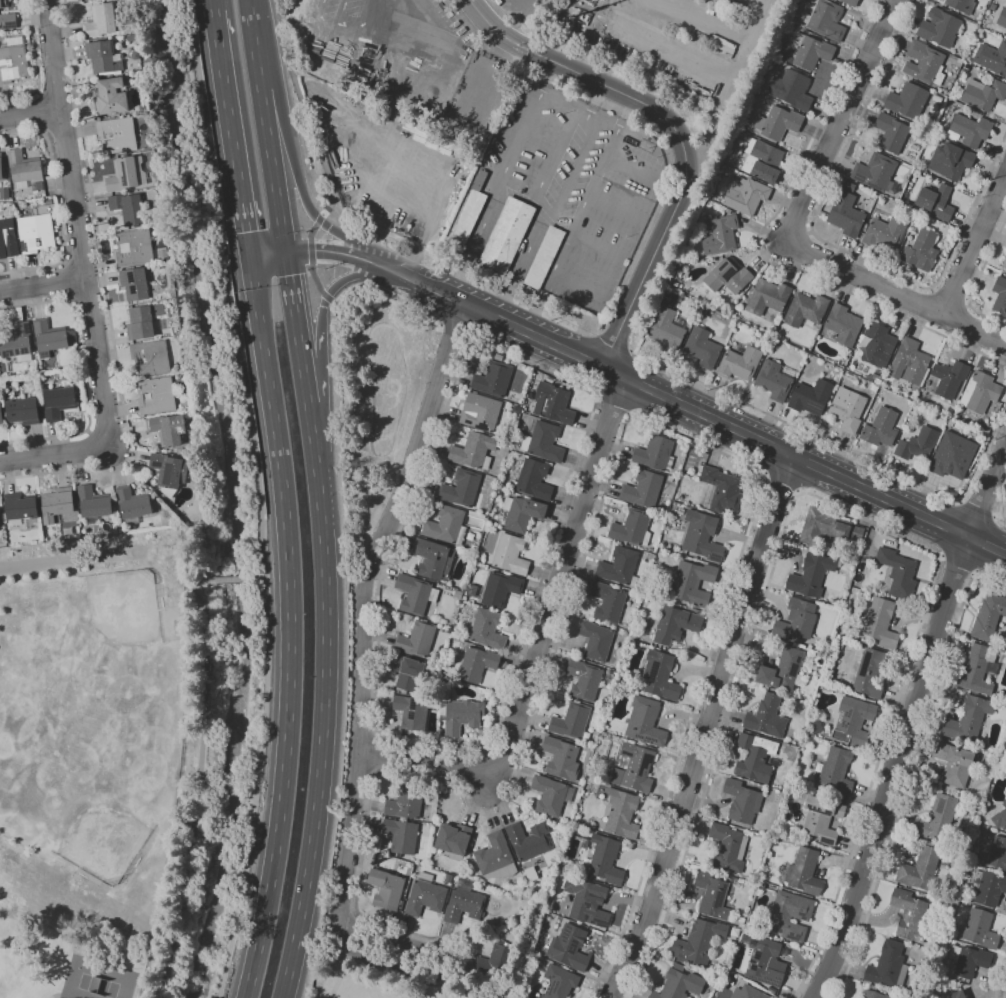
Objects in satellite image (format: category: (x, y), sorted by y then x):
building: (850, 2)
building: (3, 4)
road: (213, 5)
building: (962, 5)
building: (992, 6)
building: (946, 10)
road: (341, 11)
road: (376, 16)
building: (1002, 18)
building: (826, 20)
building: (8, 21)
building: (100, 21)
road: (336, 21)
building: (939, 28)
road: (495, 29)
building: (811, 50)
building: (103, 58)
building: (992, 58)
building: (959, 60)
building: (13, 61)
road: (702, 62)
building: (924, 63)
road: (37, 65)
building: (791, 89)
road: (57, 91)
building: (983, 94)
building: (111, 96)
building: (937, 98)
road: (596, 99)
building: (907, 100)
road: (580, 109)
road: (40, 111)
road: (305, 112)
road: (28, 114)
road: (527, 119)
road: (839, 121)
building: (778, 123)
road: (265, 126)
road: (62, 129)
building: (971, 130)
building: (891, 132)
road: (234, 134)
building: (117, 135)
road: (556, 151)
building: (762, 160)
building: (950, 160)
road: (633, 165)
building: (1, 168)
road: (576, 168)
road: (295, 169)
building: (25, 170)
building: (875, 171)
building: (126, 174)
road: (686, 175)
road: (530, 192)
building: (4, 193)
building: (746, 196)
building: (936, 201)
road: (58, 206)
road: (615, 206)
building: (129, 208)
building: (728, 211)
building: (845, 214)
road: (579, 215)
building: (467, 216)
road: (78, 224)
building: (863, 231)
building: (35, 233)
building: (884, 233)
building: (719, 234)
building: (506, 235)
road: (477, 236)
building: (8, 237)
road: (831, 244)
road: (973, 245)
road: (598, 246)
building: (133, 247)
road: (760, 247)
building: (921, 251)
traffic signals: (285, 253)
road: (325, 253)
building: (162, 255)
road: (269, 255)
building: (544, 257)
traffic signals: (254, 258)
road: (82, 260)
building: (1004, 262)
road: (521, 263)
road: (378, 265)
building: (728, 277)
road: (977, 280)
building: (134, 284)
road: (43, 285)
road: (578, 290)
road: (932, 290)
road: (86, 294)
road: (895, 294)
building: (1000, 295)
building: (767, 297)
road: (106, 299)
road: (949, 300)
road: (324, 301)
road: (967, 306)
building: (806, 310)
road: (294, 313)
building: (143, 321)
building: (843, 325)
building: (667, 329)
building: (48, 337)
building: (18, 342)
building: (878, 345)
building: (702, 348)
building: (150, 358)
building: (739, 363)
building: (910, 363)
building: (3, 366)
road: (83, 375)
road: (563, 378)
building: (869, 378)
building: (949, 378)
building: (493, 379)
building: (549, 379)
building: (775, 379)
building: (877, 381)
building: (874, 388)
building: (980, 392)
building: (156, 395)
park: (374, 395)
building: (811, 397)
building: (59, 402)
building: (553, 404)
road: (615, 405)
building: (848, 410)
building: (24, 411)
road: (698, 411)
building: (480, 412)
building: (1, 413)
road: (310, 422)
building: (950, 422)
building: (880, 428)
building: (167, 429)
building: (543, 442)
building: (917, 444)
road: (844, 448)
building: (474, 450)
building: (179, 451)
building: (655, 454)
road: (55, 455)
building: (953, 455)
road: (733, 457)
building: (169, 470)
road: (782, 478)
building: (533, 479)
building: (721, 488)
building: (462, 489)
building: (642, 489)
road: (260, 498)
building: (133, 502)
building: (58, 503)
building: (94, 503)
road: (838, 506)
building: (20, 507)
road: (979, 508)
road: (999, 508)
building: (522, 513)
building: (477, 514)
building: (0, 516)
building: (446, 526)
building: (823, 526)
building: (632, 528)
building: (858, 533)
building: (702, 536)
building: (474, 548)
road: (409, 552)
building: (510, 554)
building: (433, 559)
road: (957, 564)
building: (619, 567)
building: (468, 572)
building: (898, 573)
building: (812, 575)
road: (253, 577)
road: (229, 579)
building: (692, 582)
building: (500, 589)
building: (471, 590)
building: (415, 593)
building: (644, 598)
building: (608, 602)
road: (369, 611)
building: (988, 616)
building: (796, 622)
building: (879, 623)
building: (675, 624)
road: (291, 628)
building: (487, 629)
road: (542, 635)
building: (416, 639)
building: (595, 640)
building: (840, 644)
building: (476, 664)
building: (978, 670)
building: (784, 671)
building: (406, 674)
building: (869, 674)
building: (659, 676)
building: (583, 679)
building: (411, 712)
building: (462, 716)
building: (767, 716)
building: (968, 719)
building: (571, 721)
building: (853, 721)
building: (645, 722)
road: (910, 722)
road: (705, 728)
road: (322, 736)
road: (381, 755)
building: (561, 758)
building: (755, 758)
building: (954, 764)
building: (635, 768)
building: (836, 771)
road: (910, 771)
road: (200, 783)
building: (550, 795)
building: (406, 801)
building: (741, 801)
building: (622, 814)
building: (1000, 817)
building: (937, 818)
building: (821, 819)
building: (744, 827)
building: (575, 830)
building: (401, 835)
building: (454, 839)
building: (528, 840)
building: (803, 843)
building: (728, 848)
building: (998, 853)
building: (496, 857)
building: (605, 860)
building: (974, 860)
building: (920, 868)
building: (804, 872)
building: (762, 885)
building: (386, 888)
building: (988, 888)
building: (425, 895)
building: (712, 896)
building: (464, 901)
building: (587, 901)
building: (789, 915)
building: (909, 915)
road: (384, 923)
building: (980, 929)
park: (74, 937)
building: (698, 943)
building: (570, 947)
road: (391, 949)
building: (495, 960)
building: (969, 960)
building: (764, 961)
building: (888, 966)
road: (345, 967)
park: (97, 979)
park: (387, 981)
road: (999, 981)
building: (559, 982)
building: (679, 985)
building: (772, 989)
building: (749, 992)
road: (56, 994)
building: (872, 994)
building: (955, 995)
building: (528, 997)

